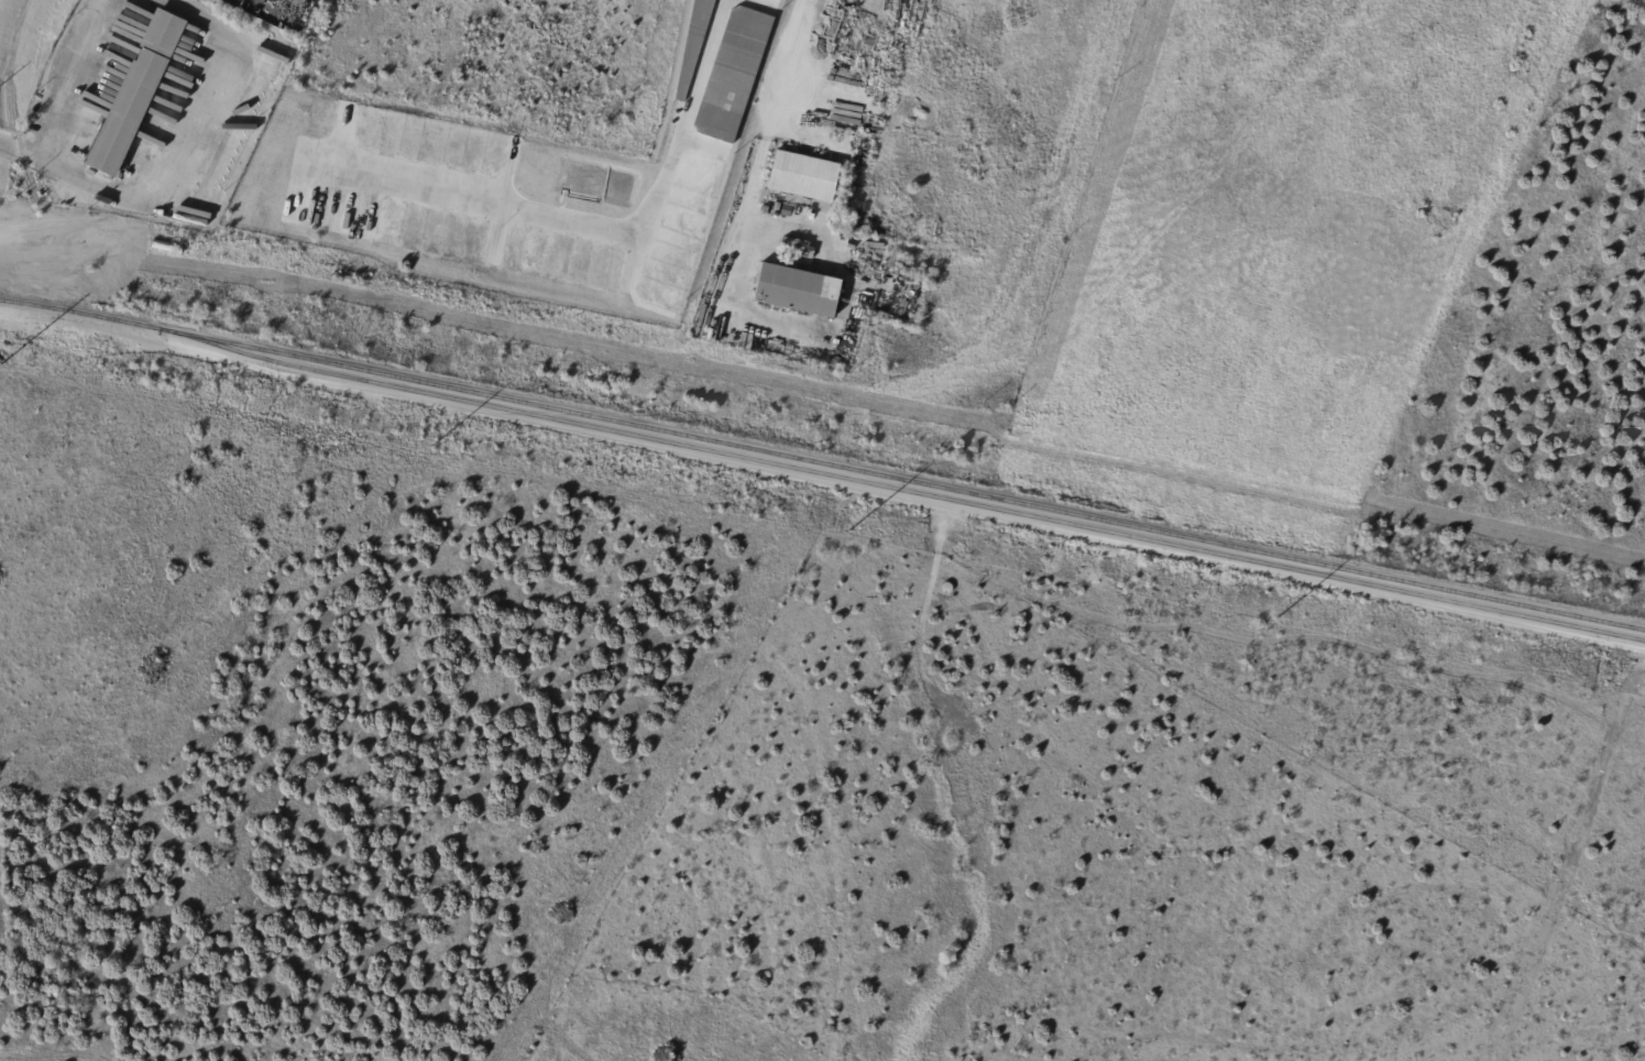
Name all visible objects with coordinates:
building: (780, 0)
building: (693, 44)
building: (733, 74)
road: (78, 81)
building: (135, 94)
road: (768, 130)
building: (803, 176)
road: (144, 195)
road: (585, 222)
building: (797, 291)
railway: (822, 462)
railway: (901, 489)

